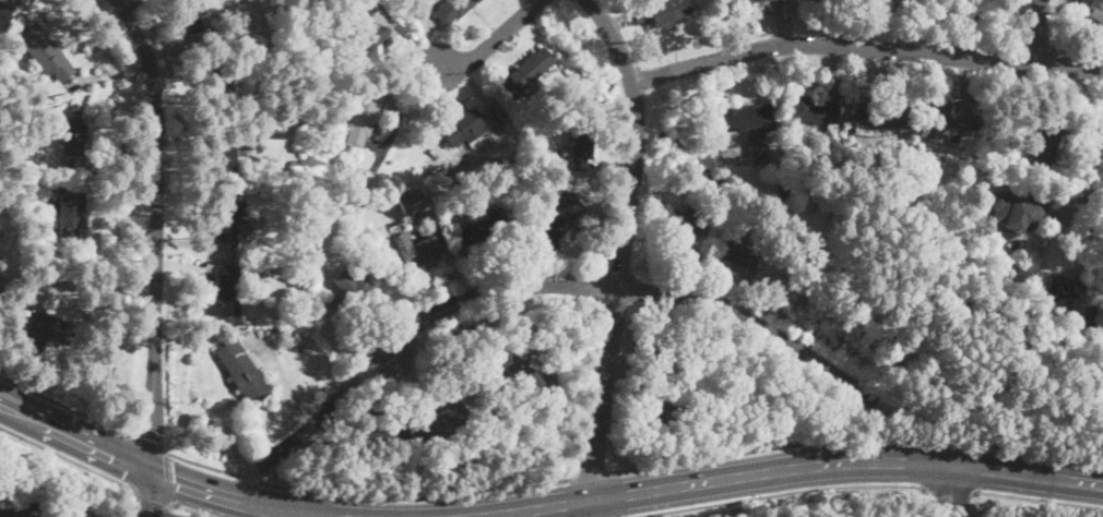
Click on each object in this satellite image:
building: (746, 0)
building: (873, 1)
building: (452, 10)
building: (963, 10)
building: (4, 11)
building: (1098, 11)
building: (663, 13)
building: (194, 16)
road: (1025, 23)
road: (1039, 29)
road: (613, 37)
road: (488, 43)
road: (974, 43)
building: (372, 44)
road: (865, 44)
road: (1041, 47)
road: (1079, 51)
building: (45, 52)
building: (530, 71)
building: (222, 82)
building: (811, 110)
building: (361, 115)
building: (881, 117)
building: (946, 122)
building: (460, 125)
building: (751, 129)
building: (73, 135)
building: (582, 142)
road: (1090, 145)
building: (1045, 151)
building: (224, 156)
building: (332, 161)
building: (527, 178)
building: (784, 194)
building: (411, 202)
building: (810, 203)
building: (1018, 212)
building: (71, 213)
building: (559, 215)
building: (225, 220)
building: (683, 228)
road: (155, 230)
building: (483, 230)
building: (417, 250)
building: (739, 254)
building: (0, 272)
building: (55, 275)
building: (69, 276)
building: (1, 277)
road: (532, 282)
building: (228, 290)
road: (616, 290)
building: (348, 292)
building: (1062, 296)
building: (1092, 312)
building: (484, 321)
building: (48, 329)
building: (664, 360)
building: (237, 364)
building: (533, 377)
building: (774, 383)
building: (747, 393)
road: (63, 405)
building: (654, 409)
building: (372, 413)
building: (698, 416)
building: (437, 421)
road: (74, 437)
road: (858, 438)
road: (144, 441)
road: (70, 459)
road: (128, 461)
road: (795, 470)
traffic signals: (151, 472)
road: (594, 472)
road: (167, 478)
road: (365, 491)
road: (949, 492)
road: (951, 492)
road: (776, 493)
road: (150, 494)
road: (1028, 497)
road: (232, 501)
road: (152, 502)
parking lot: (24, 504)
road: (25, 505)
road: (189, 510)
road: (167, 512)
building: (70, 514)

